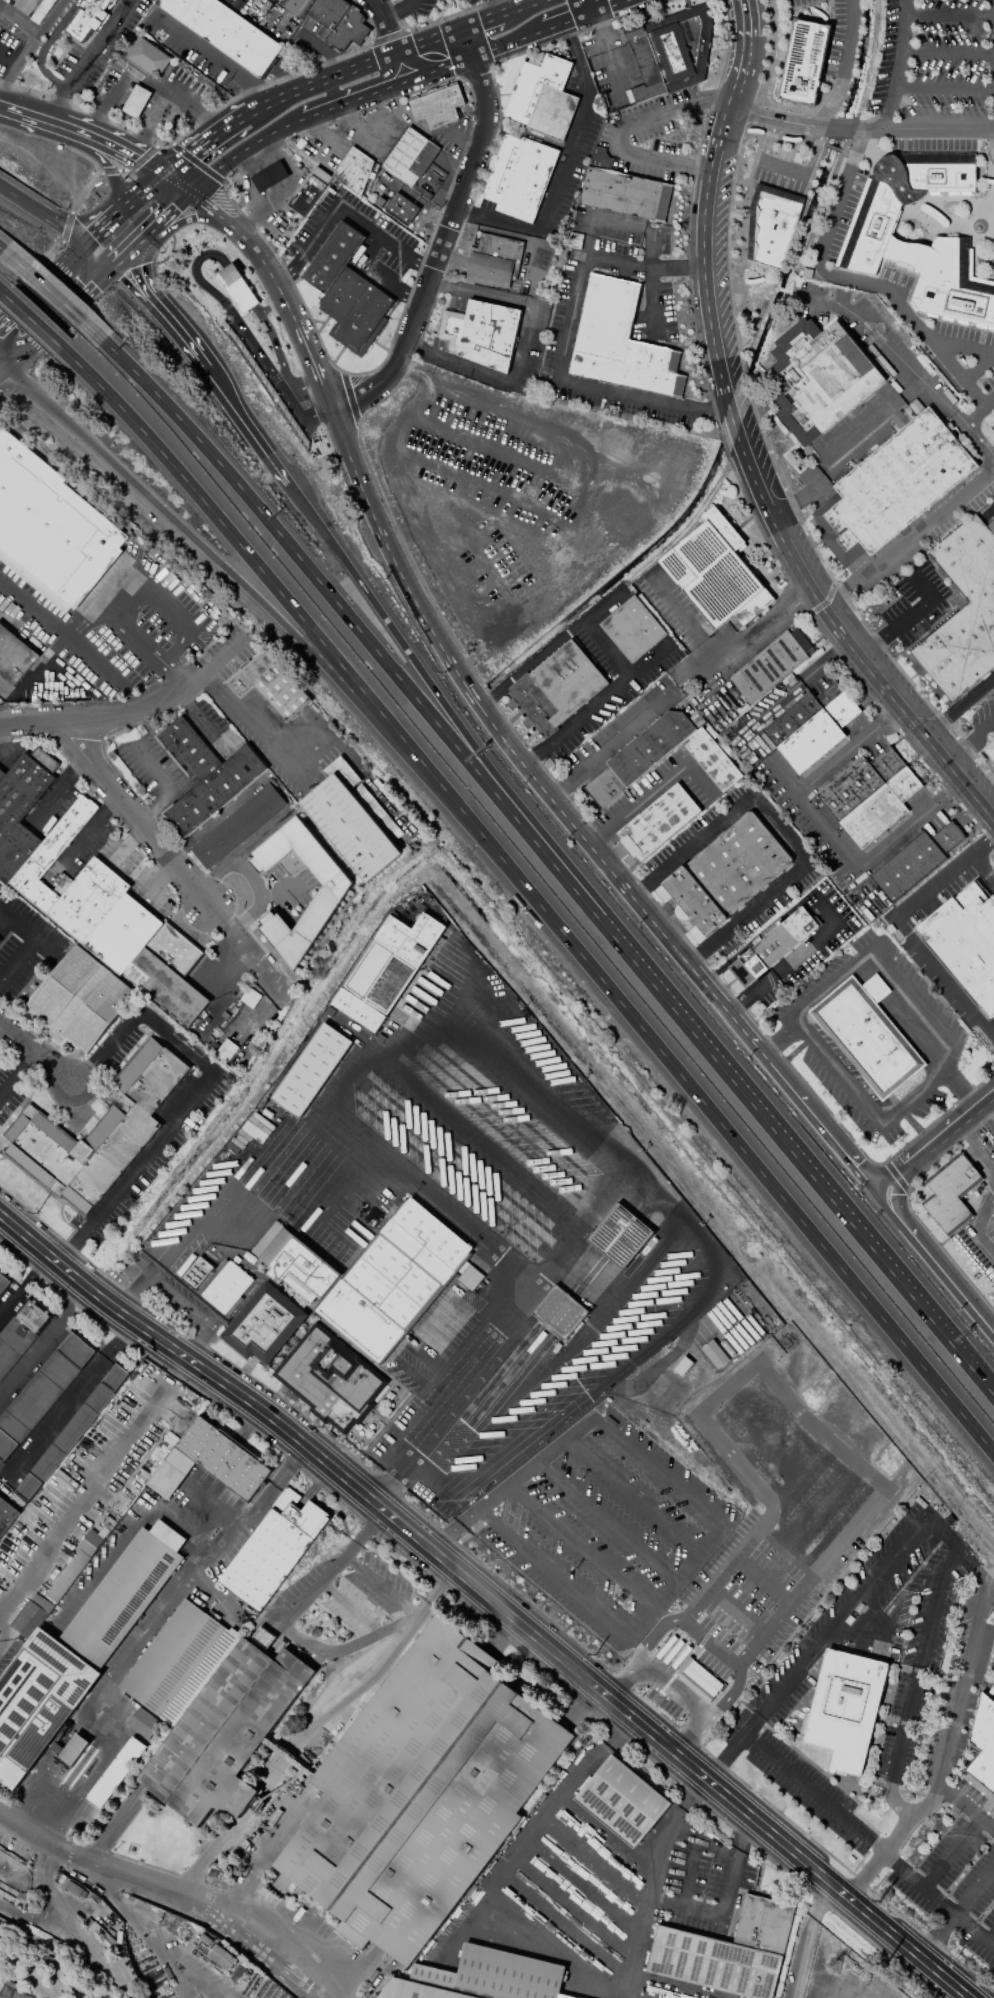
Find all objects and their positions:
building: (296, 6)
road: (499, 7)
road: (523, 7)
road: (588, 8)
road: (615, 8)
road: (397, 10)
road: (949, 13)
road: (749, 18)
building: (87, 19)
building: (340, 22)
road: (483, 22)
road: (568, 24)
road: (384, 25)
building: (228, 31)
road: (36, 33)
road: (47, 45)
building: (669, 50)
road: (948, 51)
road: (604, 52)
road: (209, 53)
road: (88, 57)
building: (149, 57)
building: (801, 63)
road: (842, 64)
road: (899, 64)
road: (16, 65)
road: (416, 65)
road: (456, 65)
road: (354, 66)
road: (742, 70)
road: (384, 77)
road: (146, 84)
road: (944, 86)
building: (542, 97)
building: (136, 101)
building: (438, 105)
road: (336, 107)
road: (41, 114)
road: (150, 121)
road: (860, 127)
road: (619, 128)
road: (206, 139)
road: (320, 146)
road: (126, 148)
road: (246, 148)
building: (410, 156)
road: (261, 161)
road: (785, 167)
road: (109, 168)
building: (354, 170)
road: (564, 170)
traffic signals: (167, 172)
building: (270, 176)
building: (520, 177)
road: (181, 180)
road: (247, 184)
road: (286, 188)
building: (621, 189)
traffic signals: (195, 190)
road: (139, 193)
building: (306, 197)
road: (343, 205)
road: (215, 206)
building: (403, 209)
road: (172, 210)
road: (440, 211)
road: (42, 213)
road: (191, 218)
building: (771, 224)
road: (648, 229)
road: (98, 230)
road: (445, 236)
building: (870, 239)
traffic signals: (83, 244)
road: (132, 249)
road: (87, 257)
road: (12, 258)
building: (495, 260)
road: (92, 263)
traffic signals: (115, 266)
road: (195, 270)
road: (104, 275)
road: (855, 278)
road: (41, 284)
building: (238, 289)
building: (346, 291)
road: (1, 292)
road: (53, 294)
road: (281, 295)
road: (272, 306)
road: (162, 317)
road: (31, 320)
road: (323, 324)
road: (51, 325)
building: (481, 333)
road: (564, 340)
building: (619, 341)
road: (381, 345)
road: (981, 349)
road: (522, 350)
road: (884, 350)
road: (338, 354)
road: (4, 362)
traffic signals: (8, 365)
road: (4, 368)
building: (818, 380)
road: (324, 392)
road: (312, 397)
road: (349, 398)
road: (227, 402)
road: (978, 408)
building: (993, 425)
building: (993, 427)
road: (979, 439)
road: (839, 451)
road: (460, 452)
road: (729, 458)
road: (432, 481)
building: (893, 487)
road: (758, 493)
road: (497, 495)
road: (580, 498)
parking lot: (528, 502)
road: (550, 526)
building: (51, 527)
road: (910, 533)
road: (523, 550)
building: (715, 572)
road: (493, 573)
road: (584, 573)
road: (324, 588)
road: (166, 595)
road: (824, 602)
road: (601, 604)
road: (295, 611)
building: (964, 612)
road: (906, 615)
road: (270, 617)
building: (634, 629)
road: (60, 636)
road: (455, 641)
road: (404, 647)
road: (607, 649)
building: (14, 656)
road: (723, 656)
road: (531, 663)
building: (770, 665)
parking lot: (609, 673)
building: (271, 684)
building: (558, 687)
road: (790, 694)
road: (958, 703)
road: (597, 705)
road: (134, 709)
road: (516, 715)
road: (526, 715)
road: (1, 720)
building: (811, 725)
parking lot: (622, 727)
road: (497, 732)
road: (969, 737)
road: (609, 744)
road: (267, 745)
building: (989, 750)
building: (662, 757)
building: (205, 775)
road: (165, 782)
road: (56, 789)
road: (648, 791)
building: (870, 795)
building: (354, 820)
building: (657, 822)
building: (238, 825)
road: (780, 827)
road: (827, 830)
road: (234, 855)
building: (916, 860)
road: (982, 867)
building: (726, 873)
road: (185, 875)
building: (93, 896)
building: (329, 898)
road: (262, 903)
road: (901, 926)
building: (0, 940)
building: (966, 941)
building: (0, 942)
road: (32, 945)
building: (772, 947)
road: (881, 954)
road: (799, 956)
building: (387, 969)
road: (730, 982)
building: (81, 999)
road: (1, 1020)
road: (991, 1031)
road: (743, 1032)
building: (868, 1034)
road: (777, 1039)
road: (36, 1050)
road: (796, 1050)
building: (311, 1070)
road: (11, 1079)
road: (962, 1087)
road: (192, 1097)
road: (867, 1111)
road: (986, 1116)
road: (762, 1117)
road: (322, 1119)
road: (817, 1121)
road: (911, 1122)
road: (949, 1129)
building: (97, 1132)
road: (482, 1144)
road: (974, 1147)
road: (757, 1168)
road: (889, 1177)
road: (902, 1180)
road: (232, 1187)
traffic signals: (875, 1191)
building: (952, 1193)
traffic signals: (898, 1195)
road: (898, 1207)
road: (883, 1209)
power tower: (36, 1214)
road: (980, 1219)
building: (620, 1235)
building: (294, 1263)
road: (154, 1269)
road: (948, 1275)
building: (394, 1280)
building: (4, 1282)
road: (24, 1284)
building: (228, 1288)
road: (133, 1291)
road: (174, 1295)
building: (559, 1312)
building: (265, 1324)
building: (21, 1332)
road: (149, 1332)
road: (202, 1338)
road: (45, 1343)
road: (178, 1364)
building: (331, 1378)
road: (778, 1380)
road: (982, 1382)
building: (42, 1391)
road: (68, 1402)
power tower: (322, 1427)
building: (72, 1432)
building: (211, 1461)
road: (800, 1472)
road: (634, 1494)
road: (821, 1506)
road: (75, 1510)
road: (711, 1510)
building: (7, 1515)
road: (605, 1522)
road: (580, 1543)
building: (6, 1548)
building: (274, 1548)
road: (784, 1548)
road: (973, 1564)
building: (74, 1567)
road: (454, 1569)
road: (323, 1577)
road: (761, 1577)
road: (381, 1589)
building: (125, 1593)
road: (736, 1609)
building: (33, 1615)
road: (831, 1626)
road: (147, 1630)
road: (654, 1630)
building: (265, 1636)
road: (711, 1640)
power tower: (595, 1656)
building: (178, 1661)
road: (620, 1677)
road: (915, 1681)
road: (673, 1686)
road: (731, 1691)
building: (38, 1702)
building: (847, 1708)
building: (144, 1723)
road: (640, 1726)
building: (226, 1732)
road: (694, 1735)
building: (984, 1743)
building: (71, 1748)
road: (946, 1749)
building: (116, 1771)
road: (813, 1791)
building: (422, 1793)
building: (624, 1800)
power tower: (874, 1805)
road: (965, 1806)
building: (991, 1812)
road: (607, 1828)
road: (701, 1838)
road: (951, 1852)
road: (595, 1857)
road: (102, 1863)
road: (733, 1863)
road: (688, 1869)
road: (499, 1872)
road: (822, 1876)
road: (650, 1880)
road: (582, 1882)
road: (974, 1889)
road: (936, 1898)
power tower: (881, 1902)
road: (685, 1903)
road: (574, 1906)
road: (990, 1934)
road: (146, 1935)
road: (809, 1937)
road: (268, 1948)
road: (597, 1951)
building: (728, 1951)
building: (222, 1957)
power tower: (834, 1965)
power tower: (885, 1965)
building: (482, 1977)

